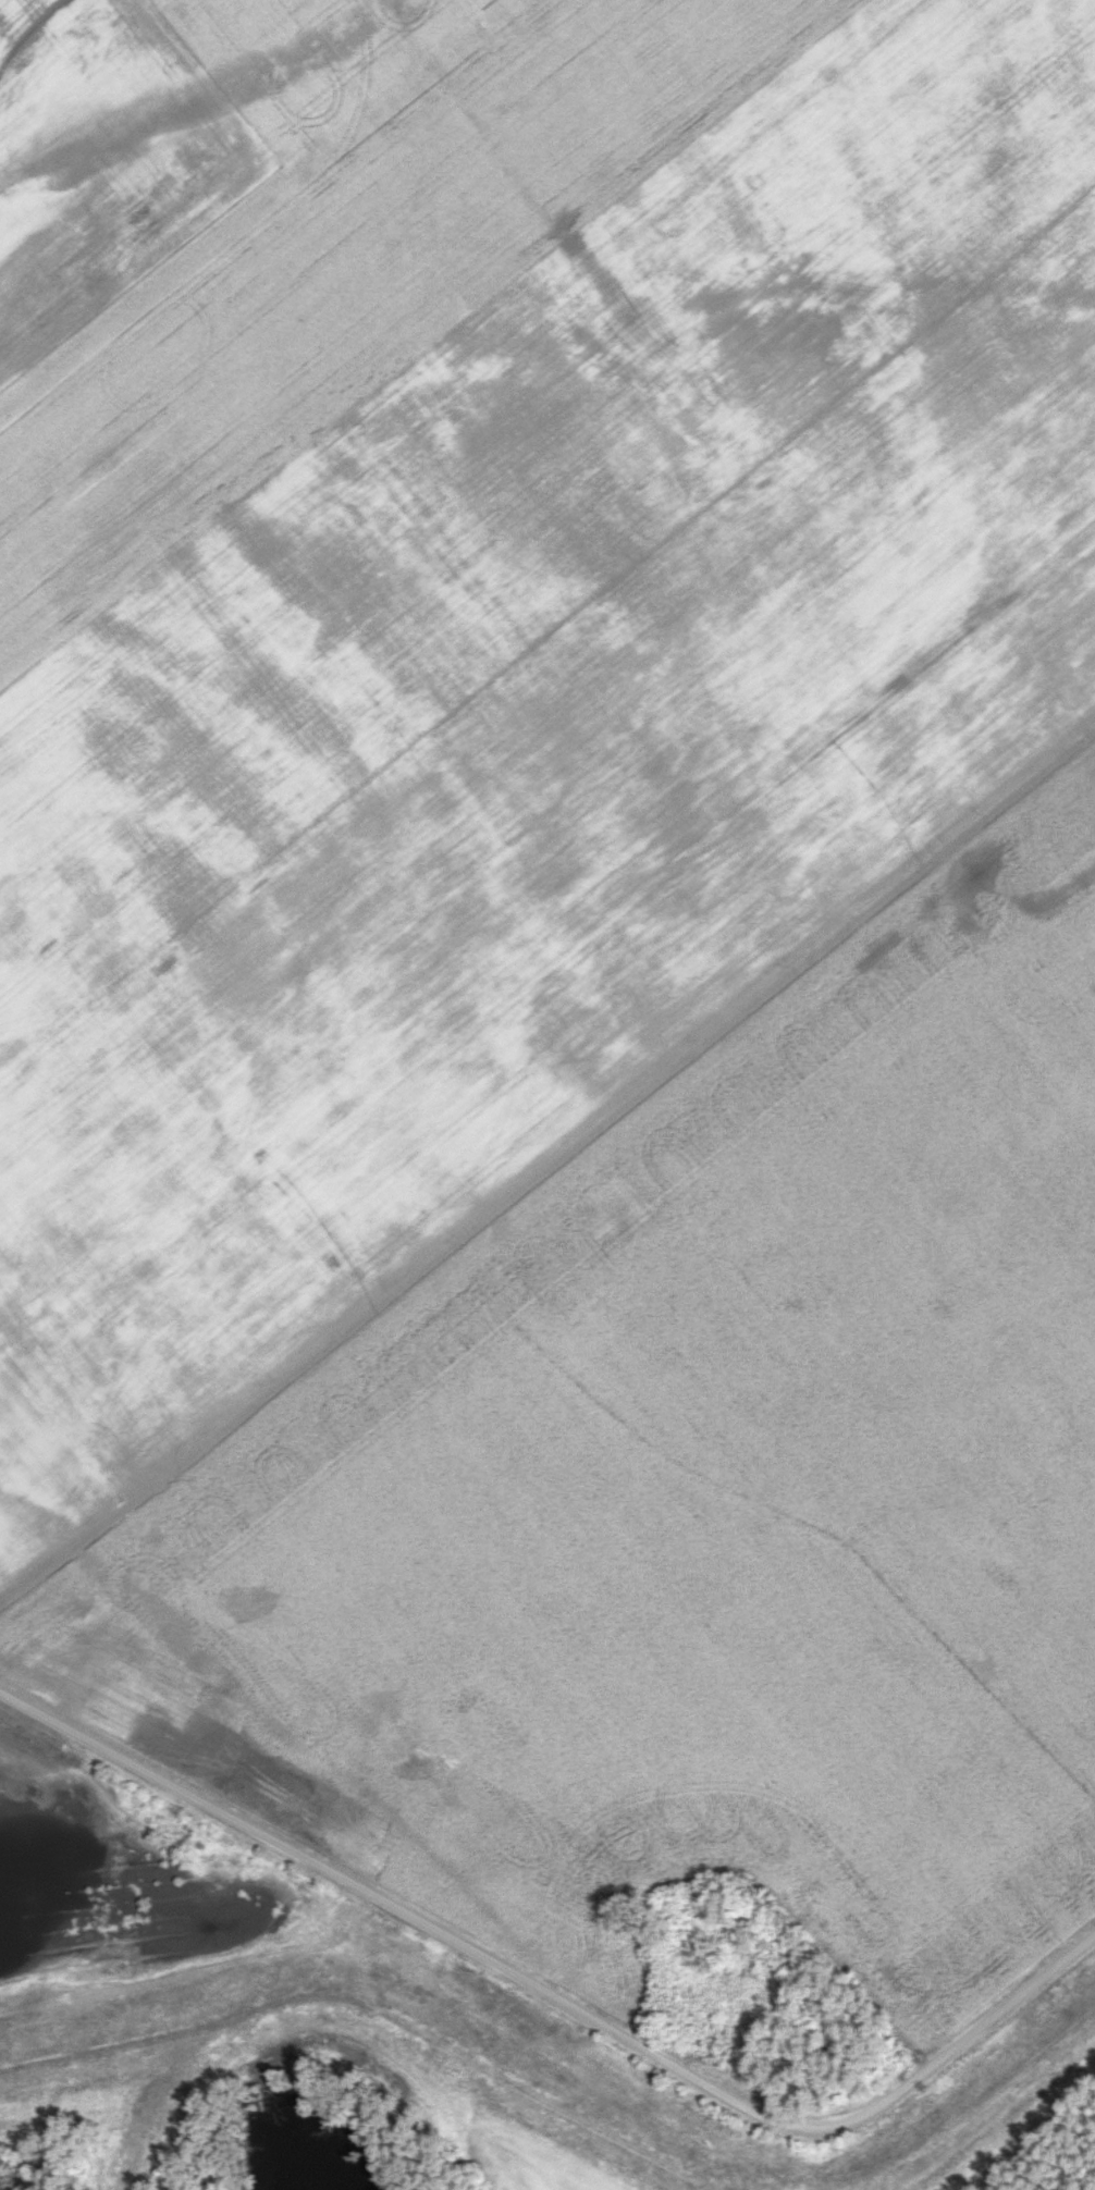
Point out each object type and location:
road: (263, 1943)
building: (792, 1956)
road: (555, 1997)
road: (377, 2004)
building: (815, 2054)
road: (153, 2101)
road: (976, 2112)

